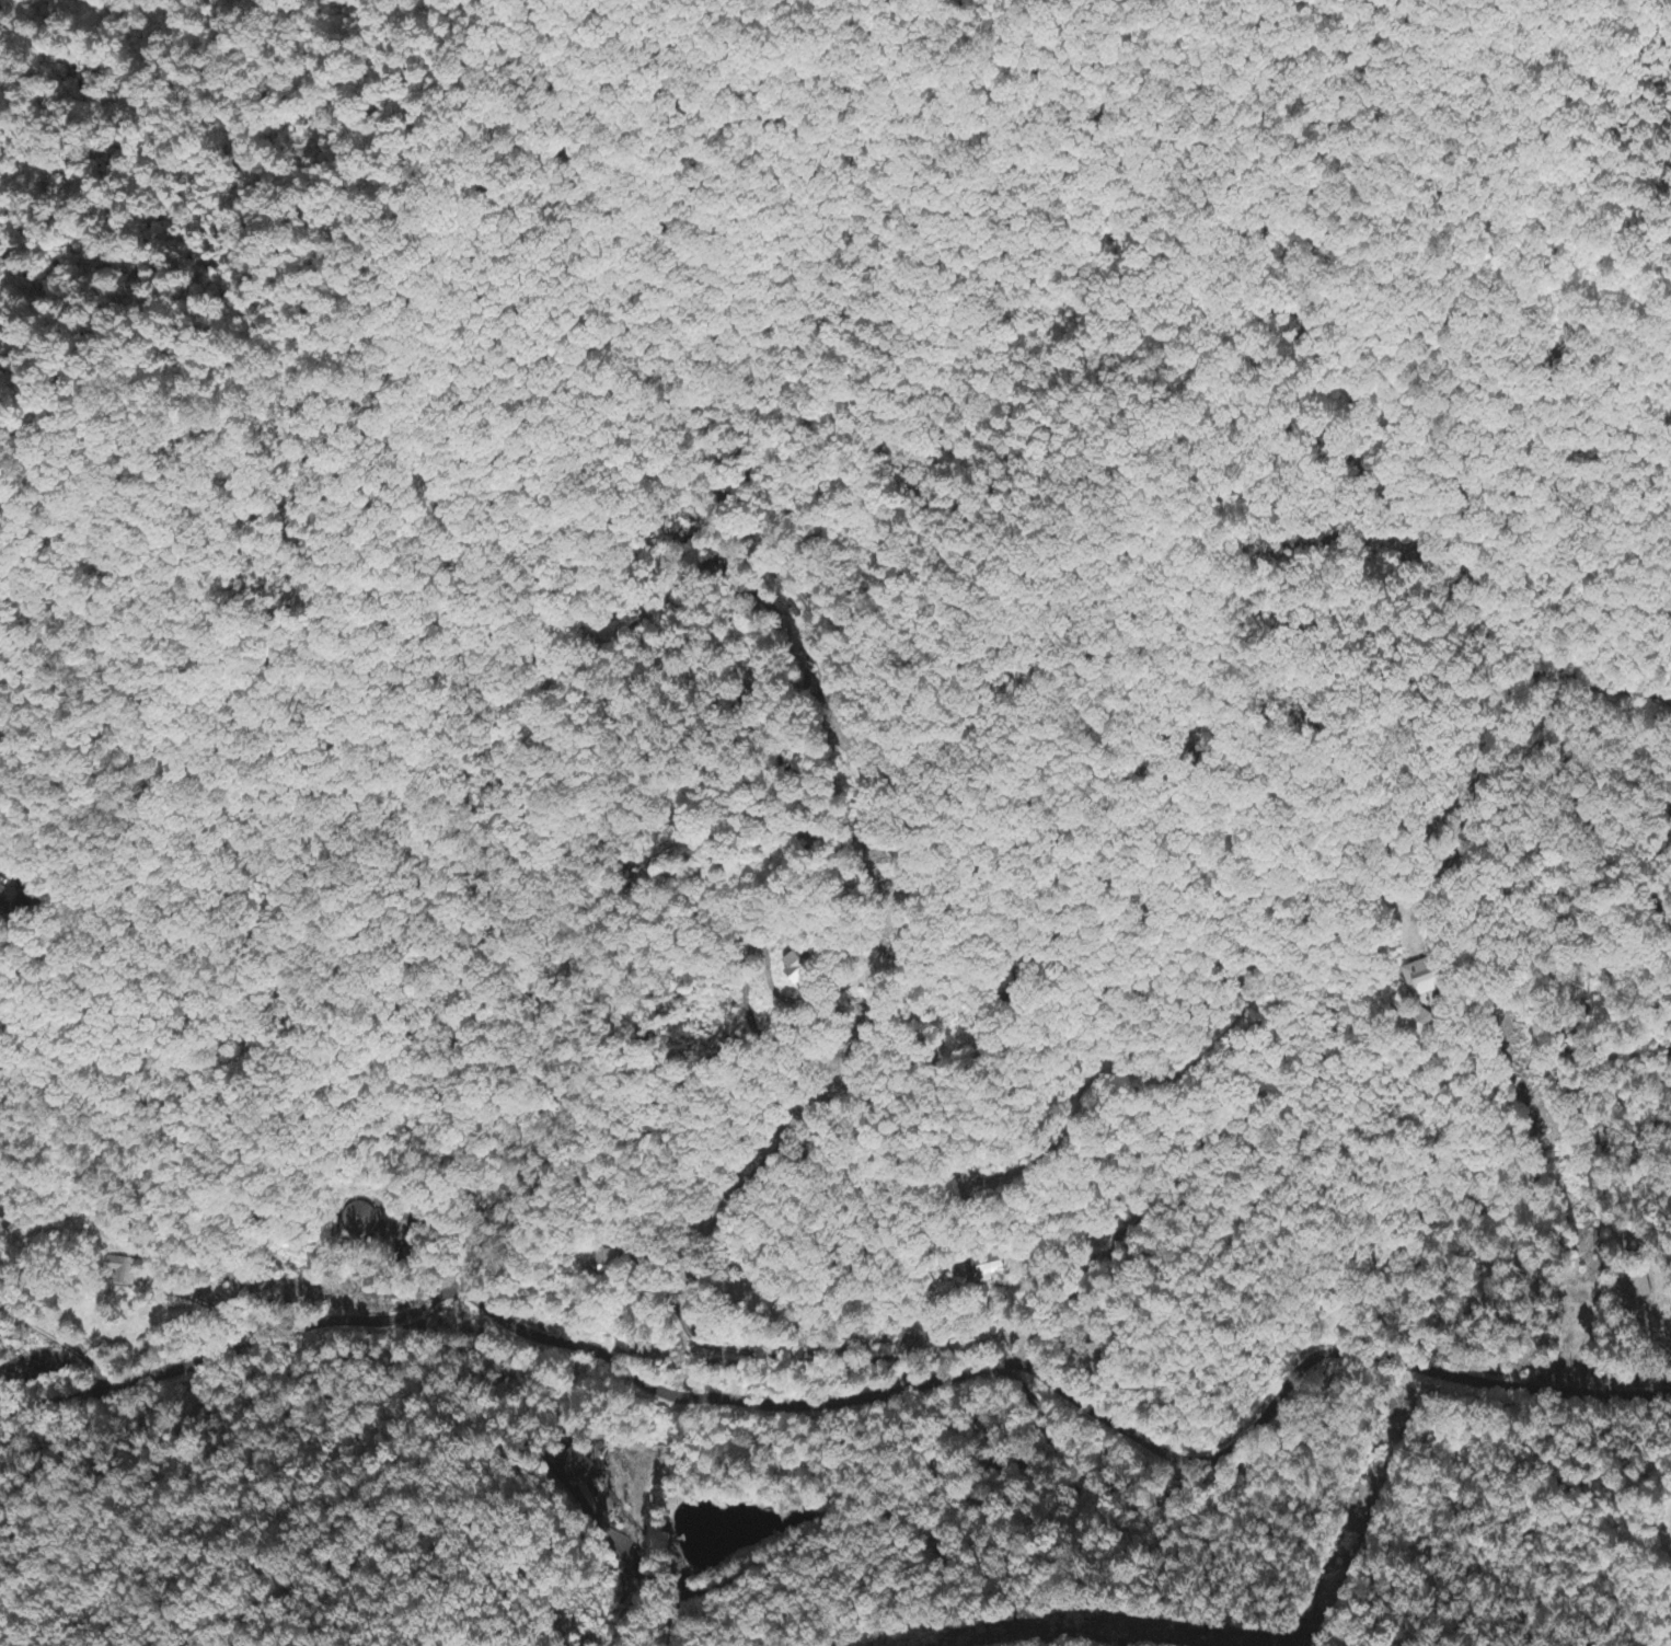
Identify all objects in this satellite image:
road: (744, 861)
building: (16, 901)
building: (795, 969)
building: (1419, 980)
road: (1519, 1184)
building: (126, 1273)
road: (913, 1385)

